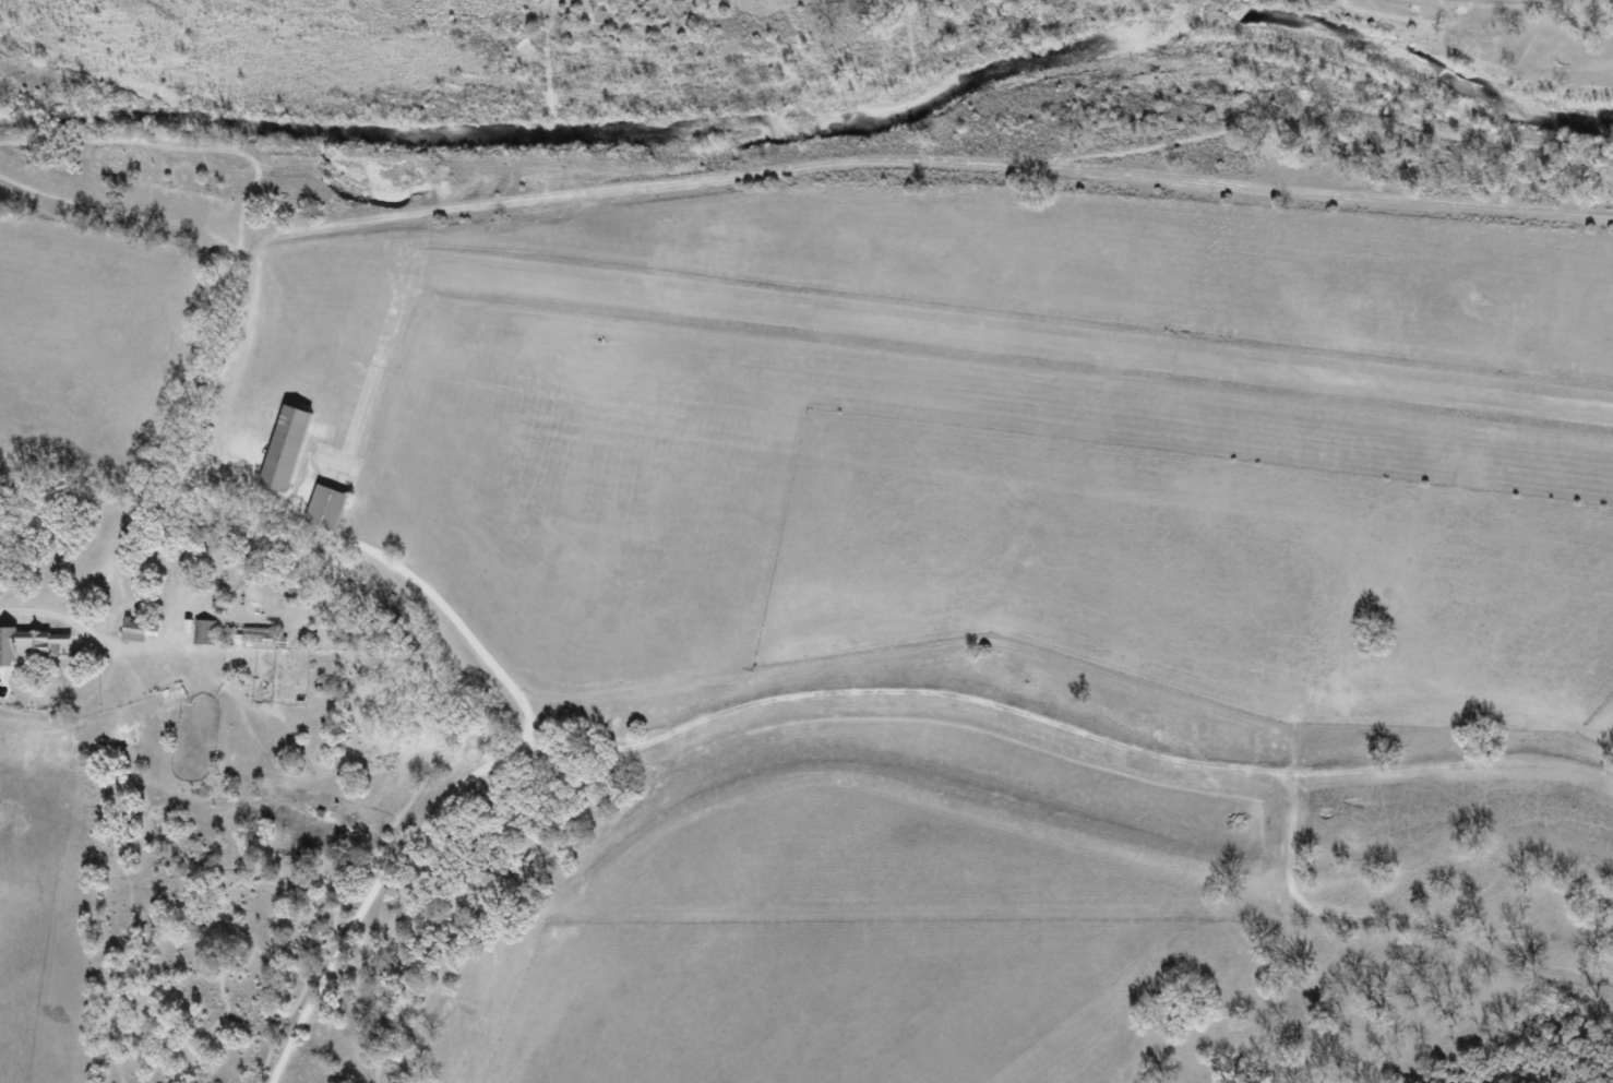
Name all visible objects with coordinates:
river: (824, 97)
airport taxiway: (399, 316)
airport runway: (1014, 336)
airport taxiway: (370, 407)
building: (343, 444)
airport hangar: (290, 448)
building: (290, 448)
airport apron: (345, 464)
airport hangar: (330, 507)
building: (330, 507)
road: (21, 610)
building: (126, 635)
building: (190, 636)
building: (250, 647)
building: (22, 651)
road: (461, 796)

